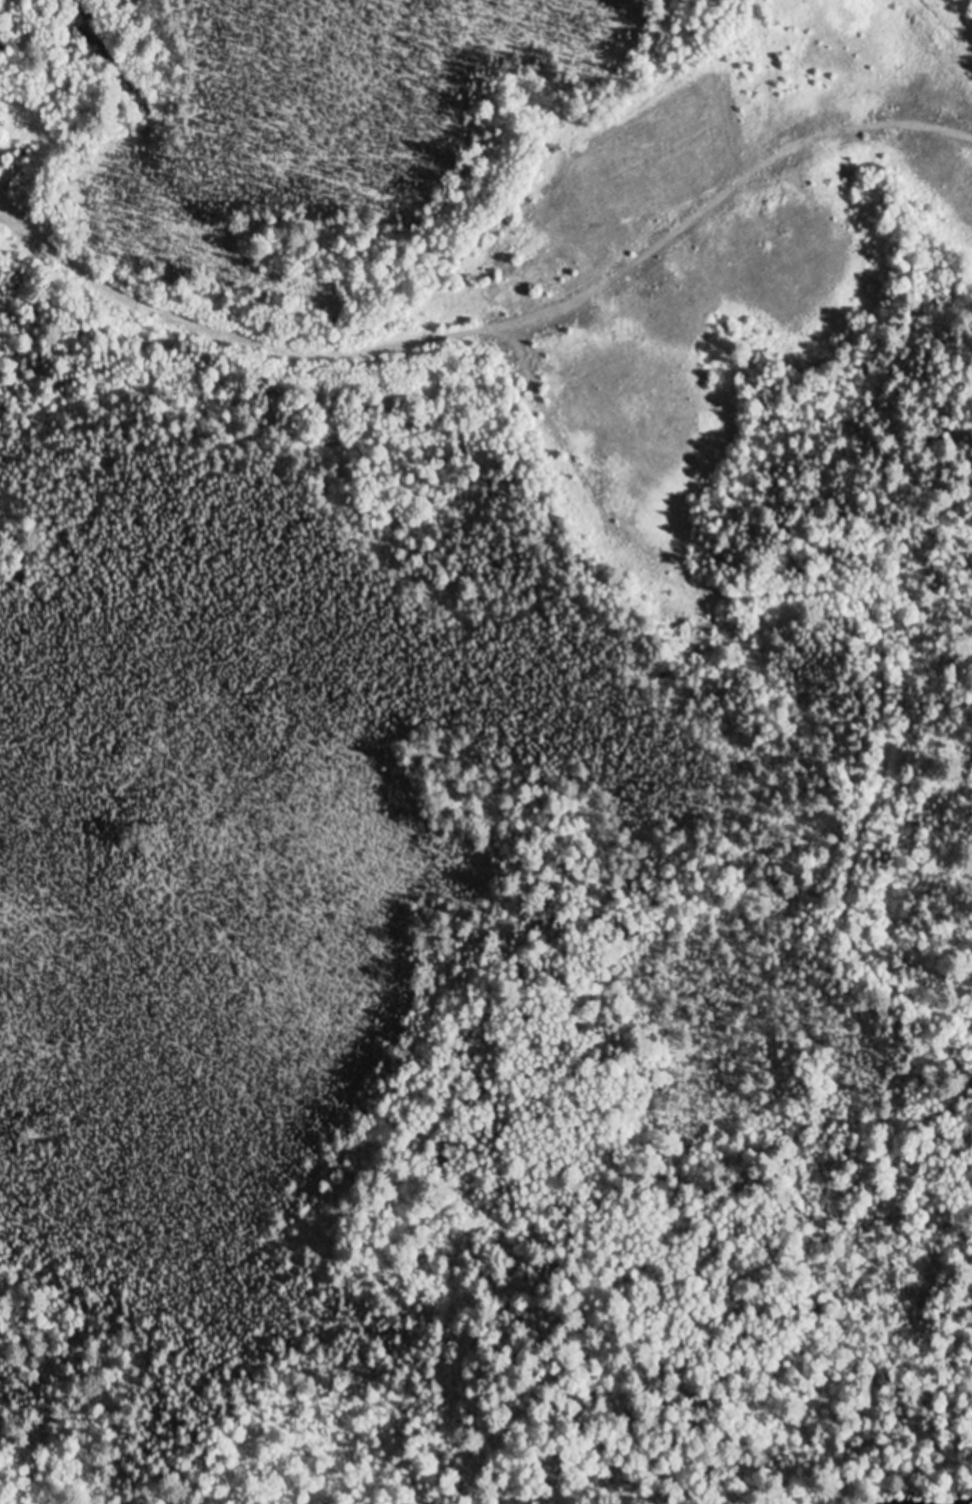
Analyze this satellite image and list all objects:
road: (497, 328)

